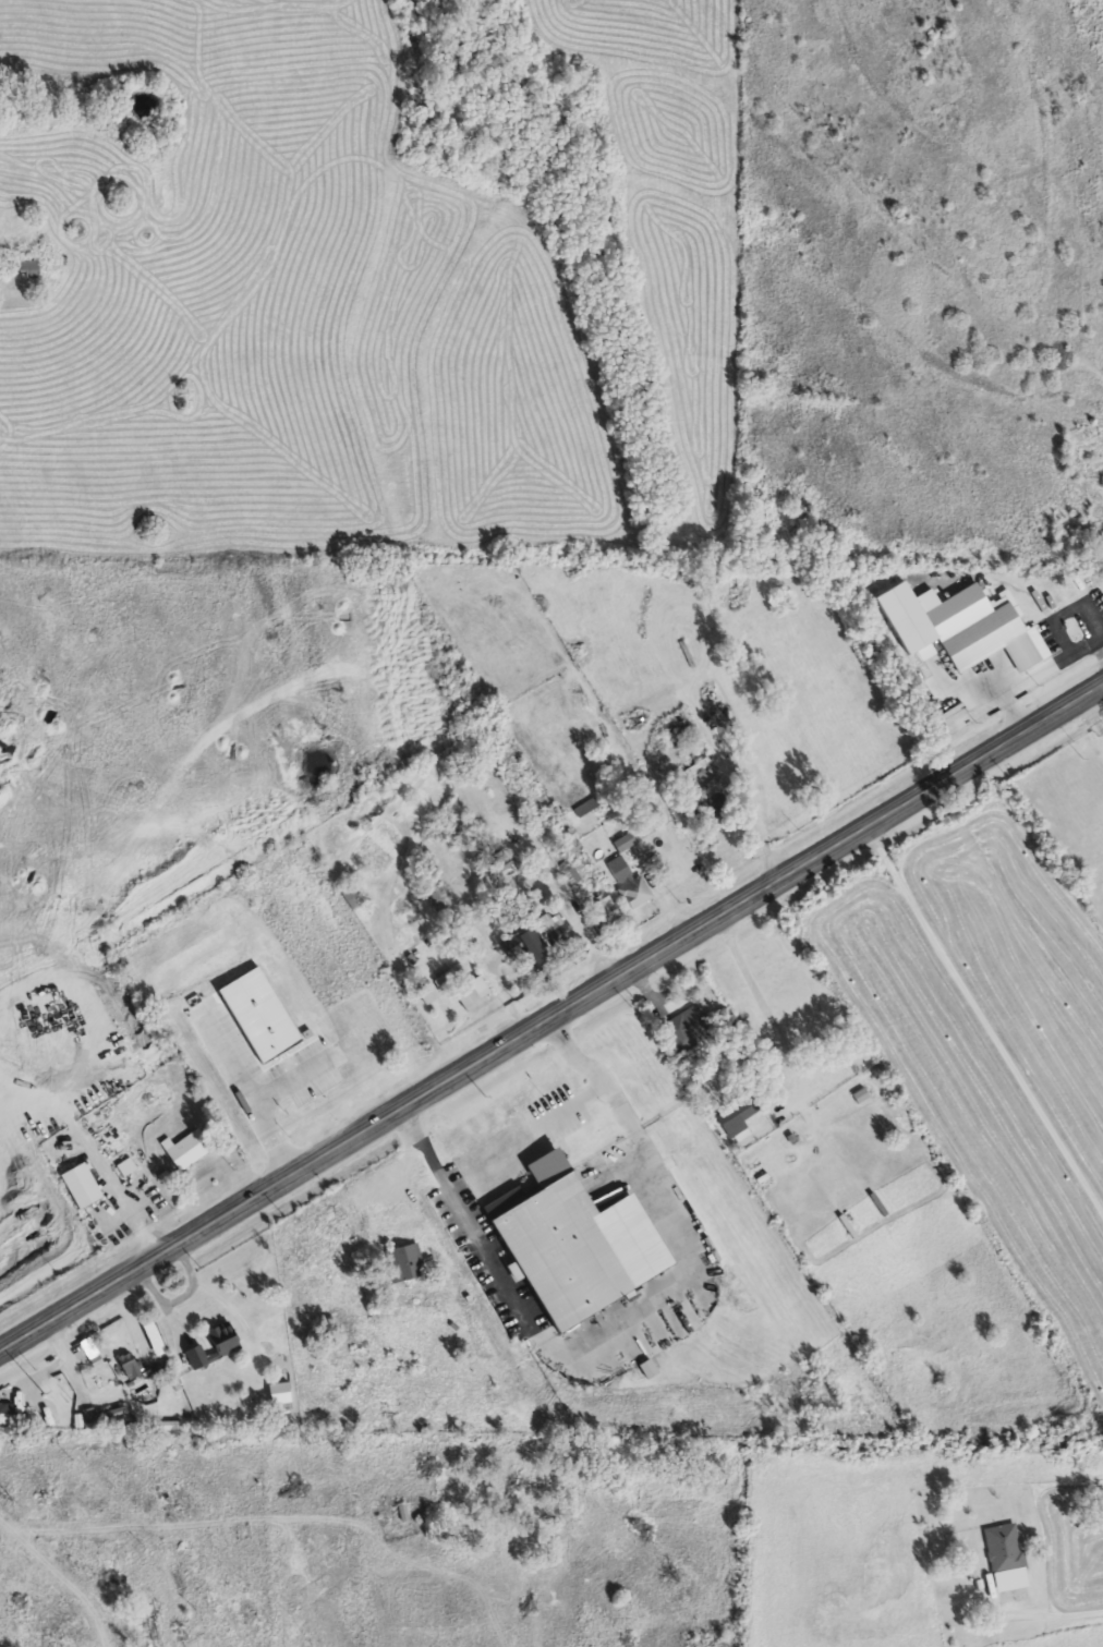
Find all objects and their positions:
building: (29, 270)
building: (1101, 596)
road: (1091, 720)
building: (768, 792)
building: (585, 809)
building: (623, 844)
building: (629, 885)
building: (601, 911)
building: (558, 932)
building: (533, 949)
building: (450, 976)
building: (182, 984)
road: (813, 986)
building: (472, 995)
building: (161, 1003)
building: (262, 1019)
road: (986, 1019)
road: (550, 1020)
building: (686, 1031)
road: (299, 1076)
building: (320, 1077)
road: (249, 1091)
building: (861, 1097)
road: (574, 1105)
building: (740, 1115)
building: (189, 1151)
building: (81, 1187)
building: (404, 1263)
building: (471, 1318)
road: (628, 1329)
building: (214, 1347)
building: (130, 1367)
building: (448, 1369)
power tower: (45, 1393)
building: (4, 1418)
building: (403, 1515)
building: (1003, 1550)
road: (62, 1574)
road: (1062, 1611)
building: (153, 1626)
building: (50, 1631)

